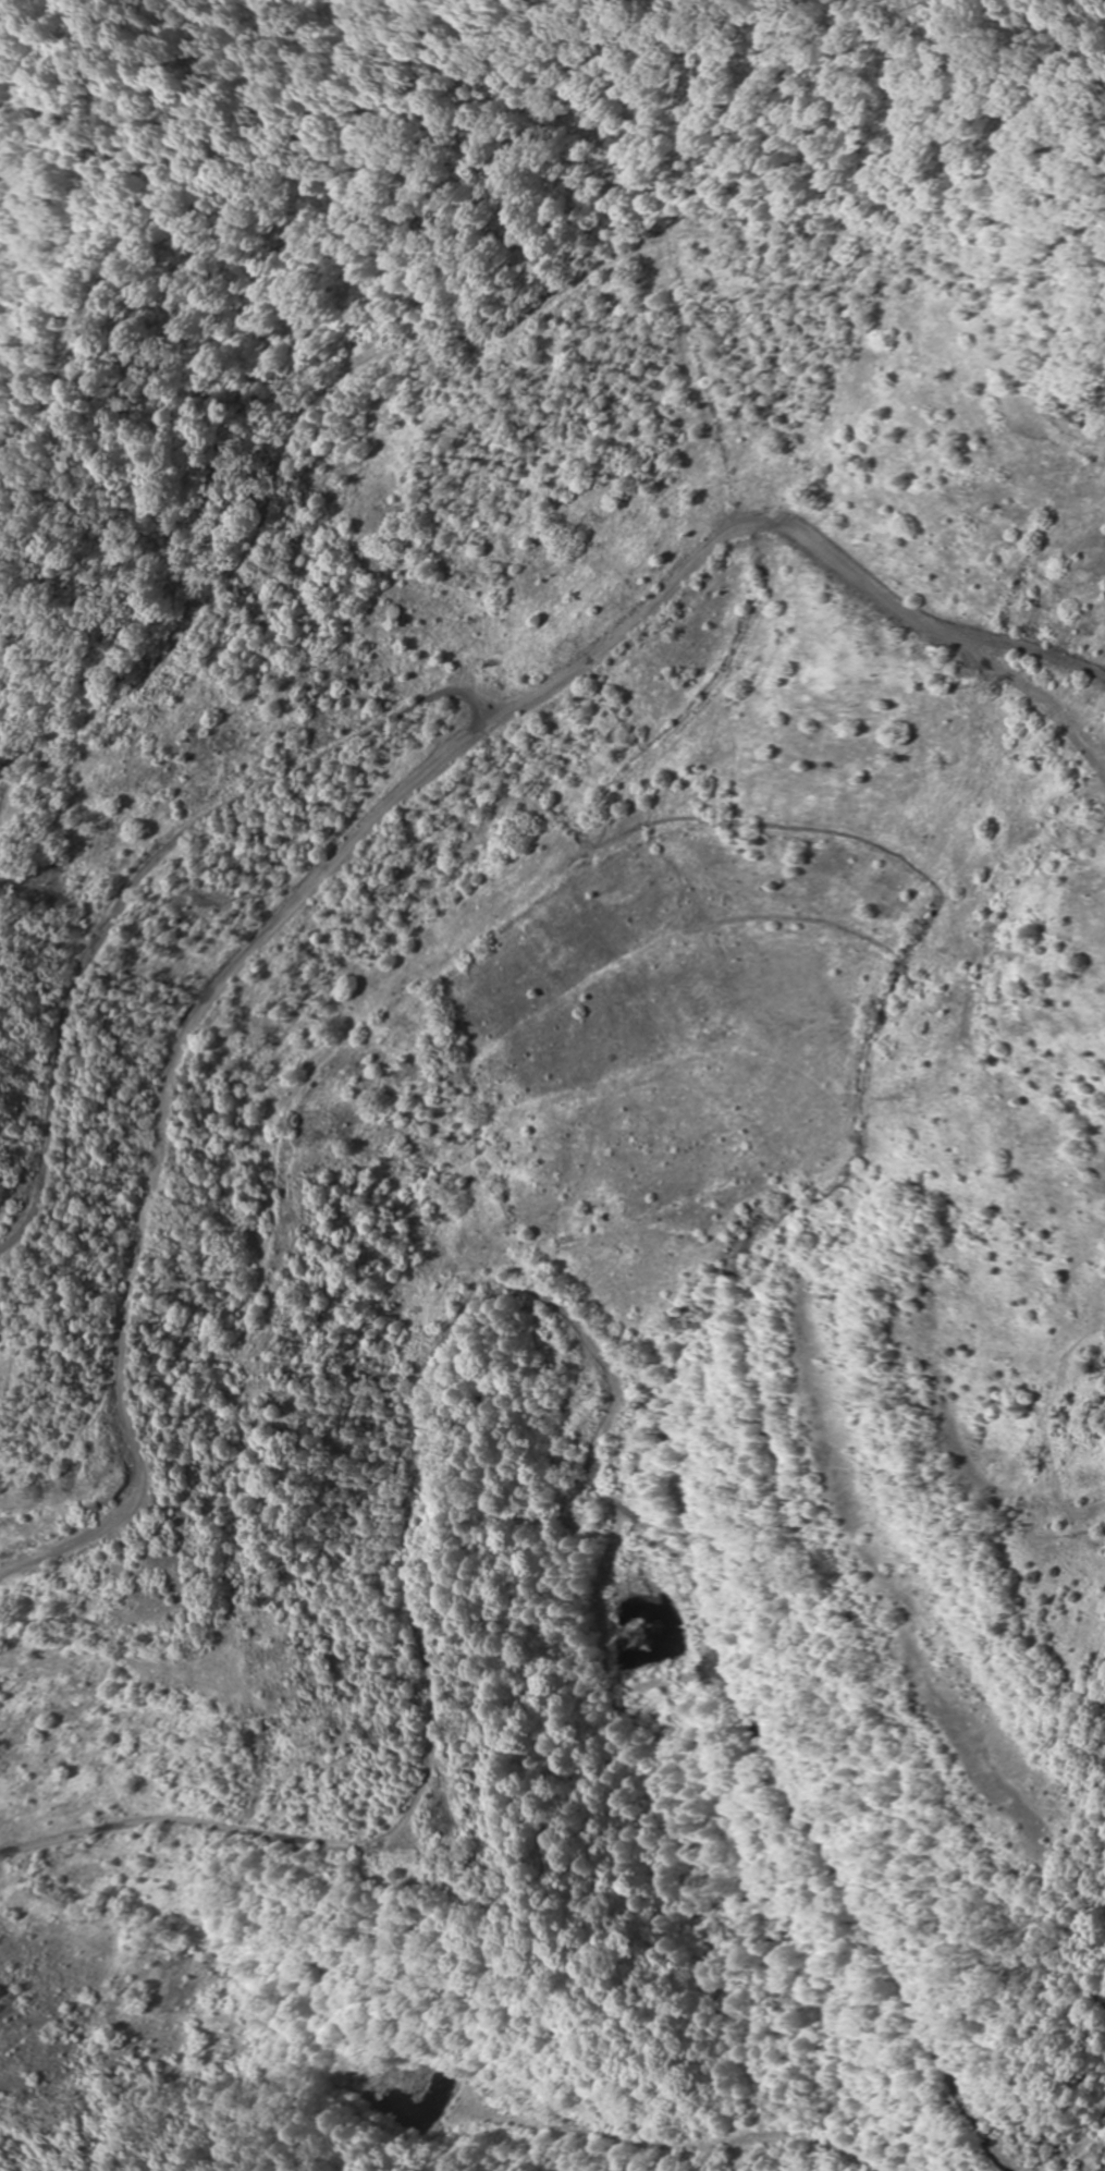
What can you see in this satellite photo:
road: (363, 833)

